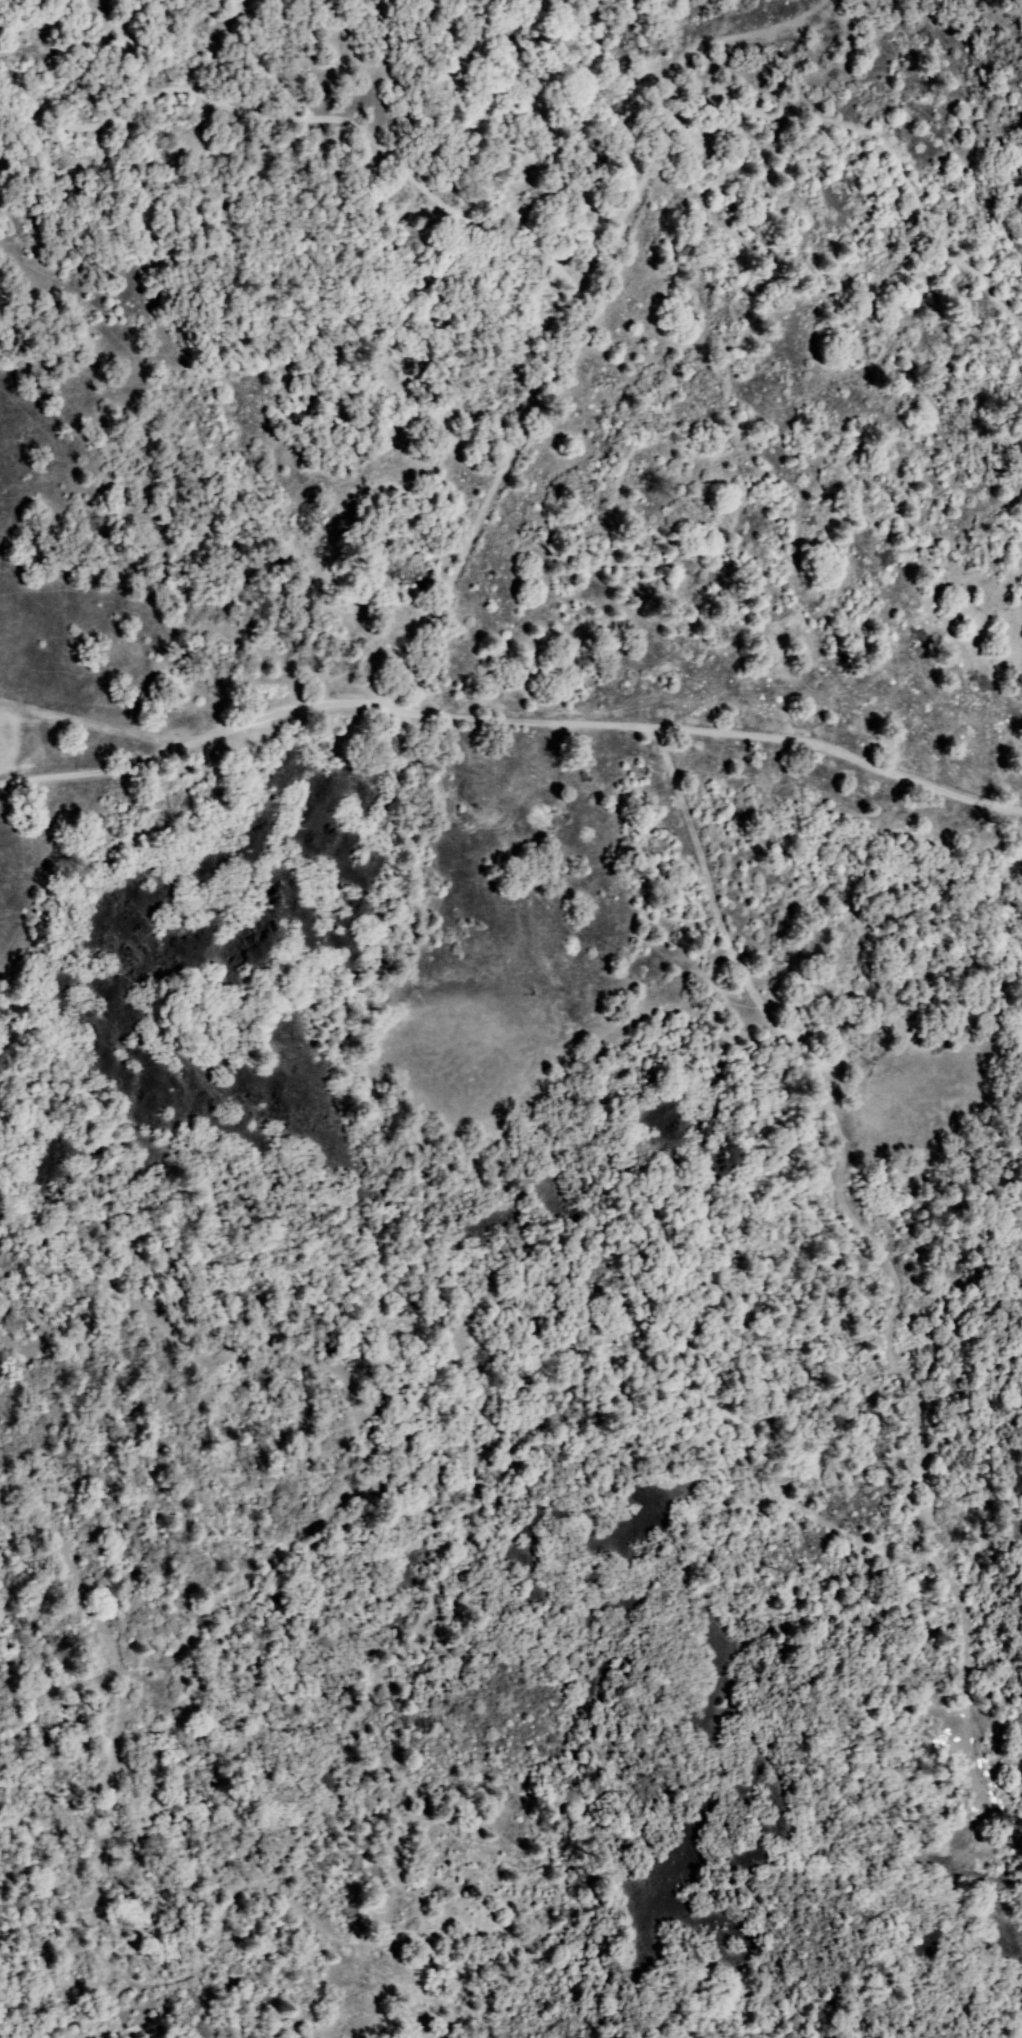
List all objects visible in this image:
road: (497, 475)
road: (706, 736)

